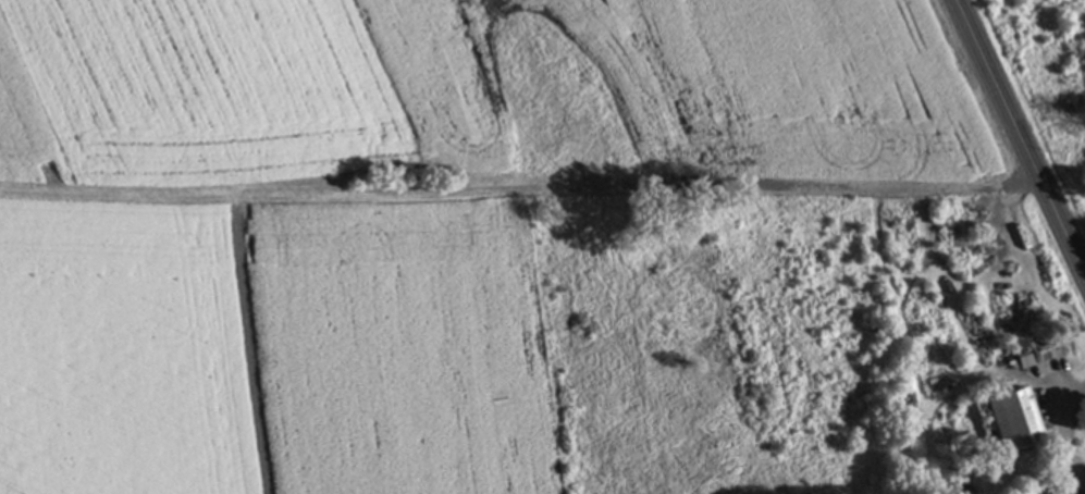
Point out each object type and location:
road: (1022, 131)
building: (1043, 353)
building: (1014, 421)
road: (1059, 425)

